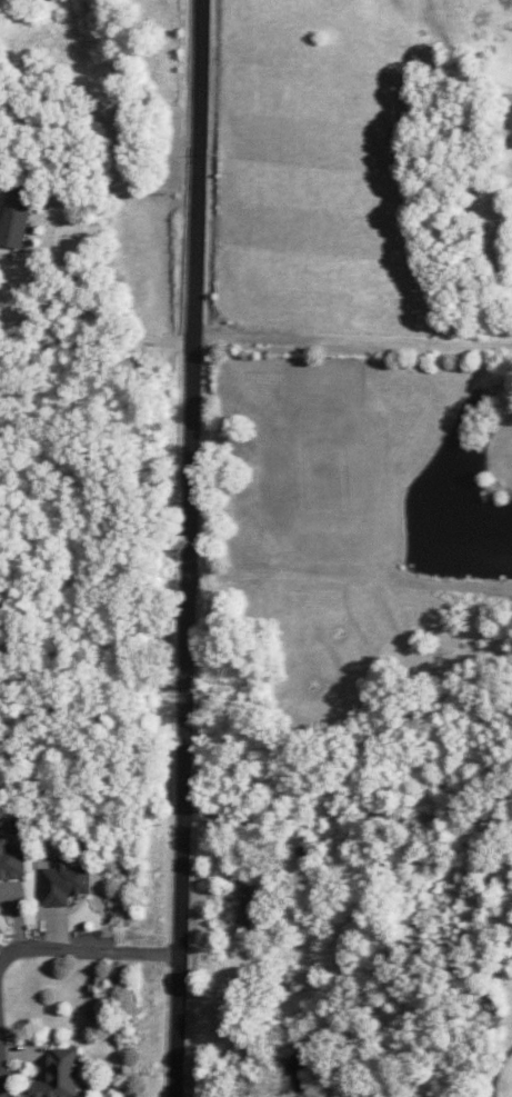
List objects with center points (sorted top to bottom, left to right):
road: (385, 51)
building: (509, 121)
building: (14, 220)
road: (188, 548)
road: (348, 816)
building: (11, 861)
building: (63, 884)
building: (249, 907)
road: (79, 949)
park: (500, 1049)
road: (0, 1066)
building: (60, 1075)

